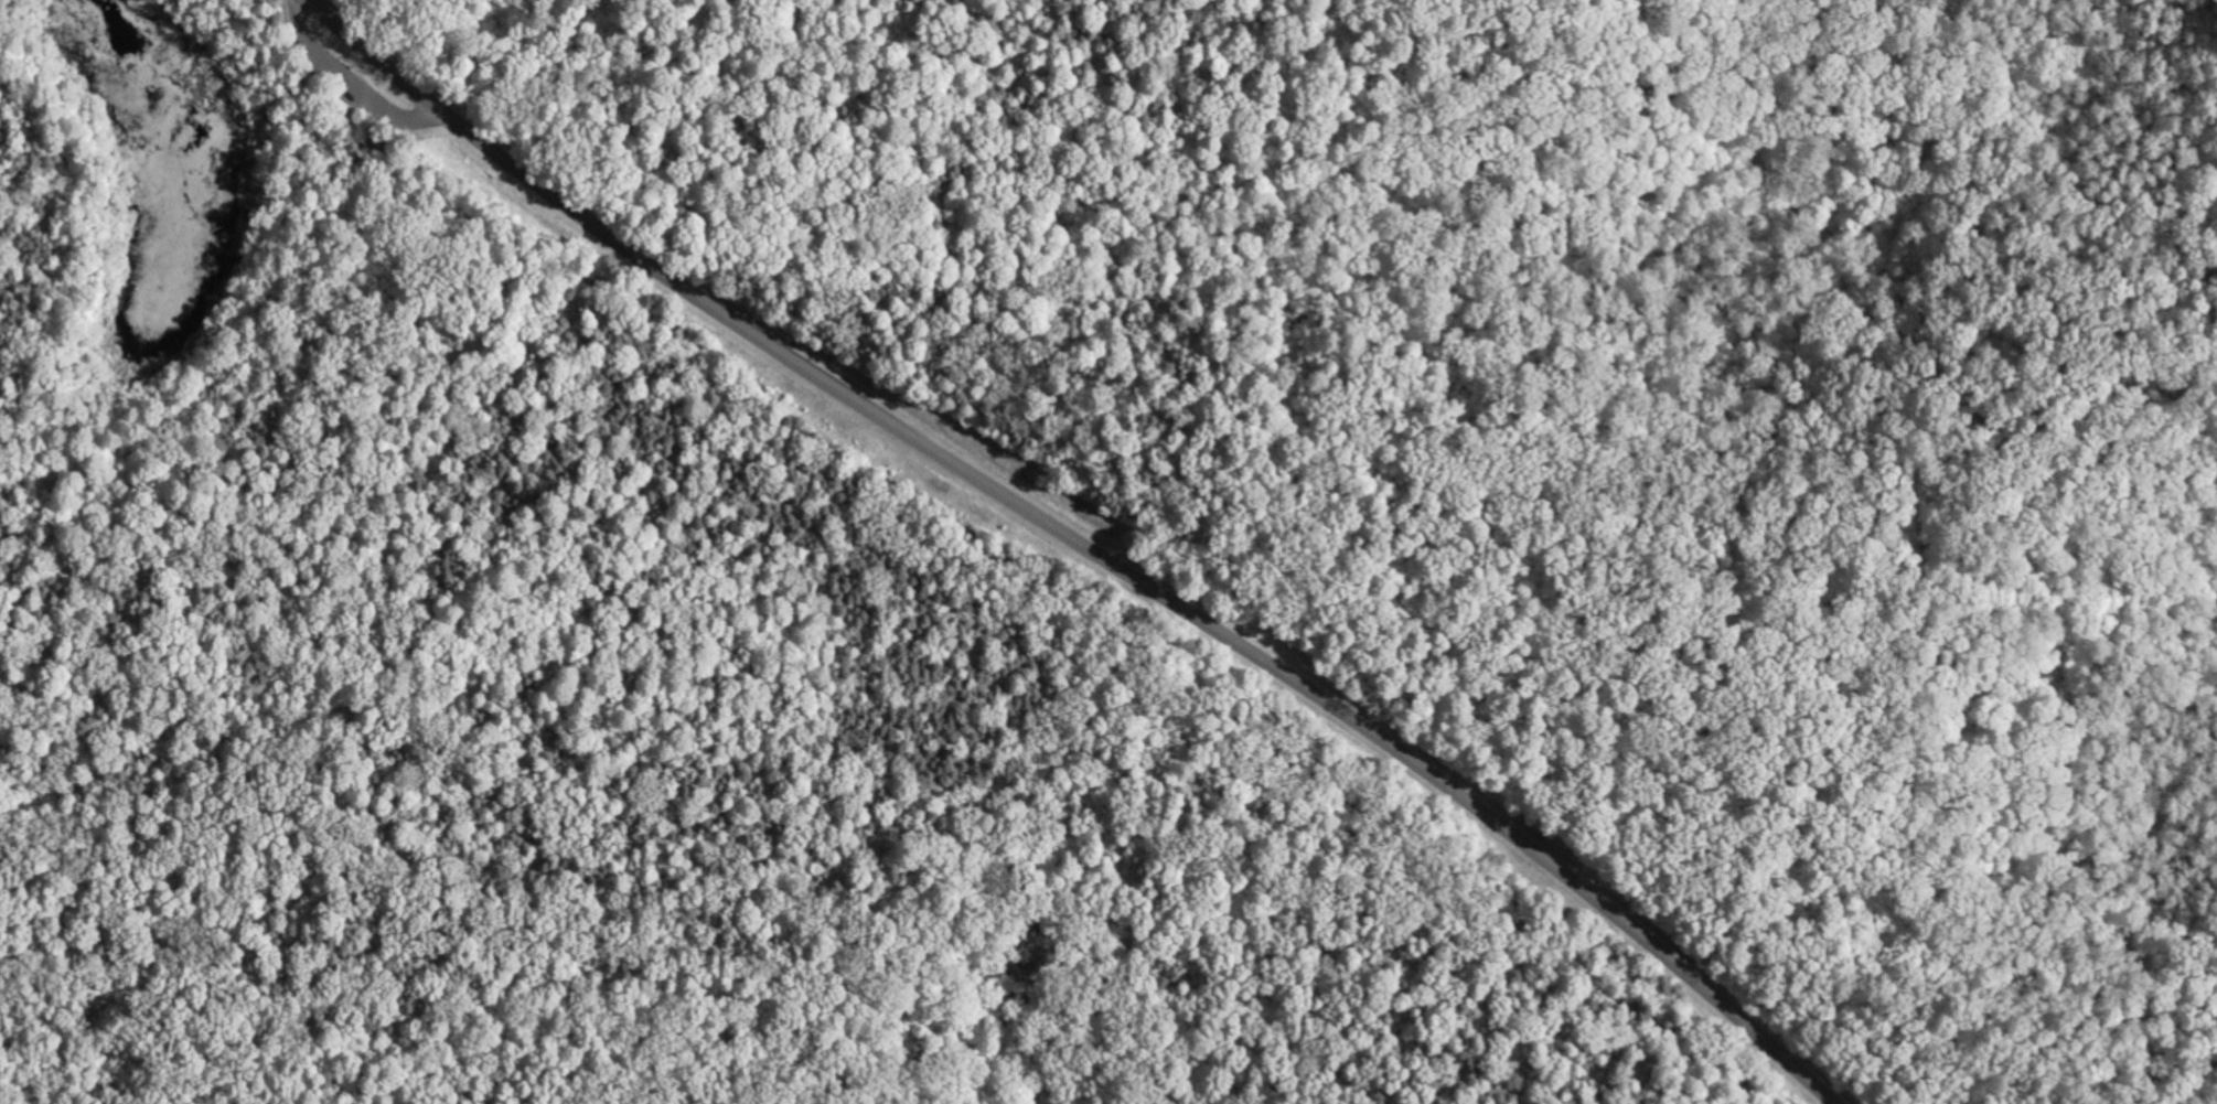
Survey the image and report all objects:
road: (288, 31)
road: (311, 31)
parking lot: (342, 90)
road: (288, 95)
road: (362, 107)
road: (456, 137)
road: (140, 461)
road: (1073, 540)
road: (1089, 618)

